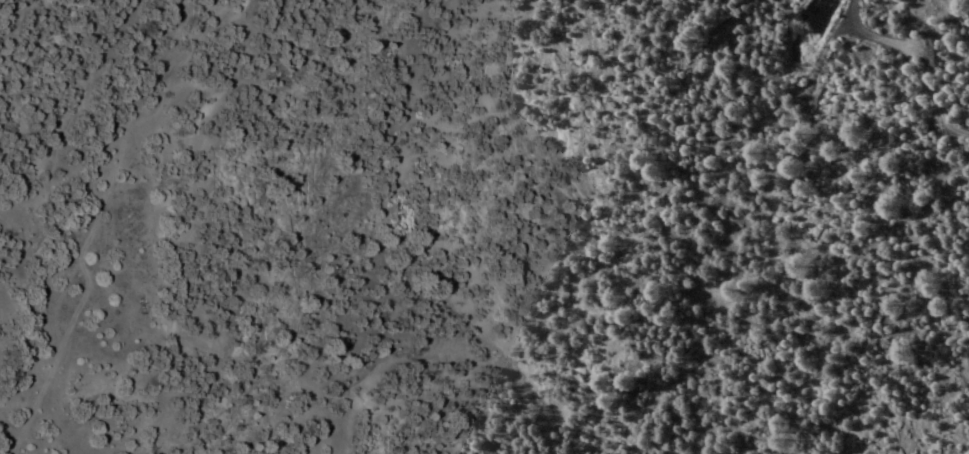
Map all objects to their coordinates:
road: (899, 57)

